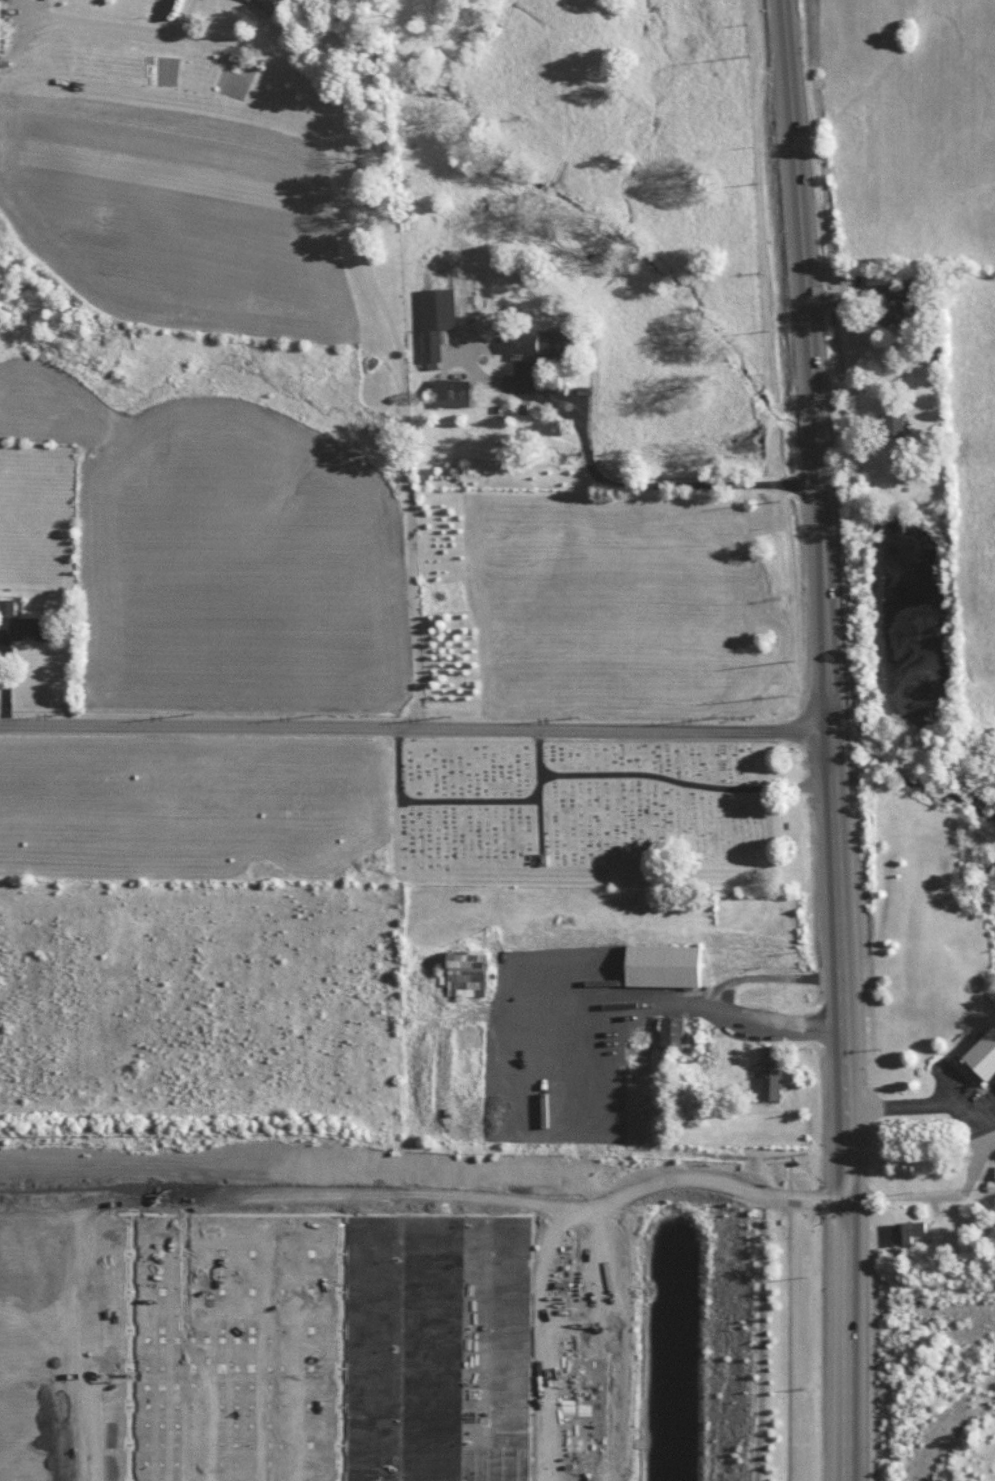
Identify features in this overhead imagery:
building: (248, 0)
building: (266, 3)
road: (365, 266)
building: (891, 303)
building: (435, 319)
building: (522, 342)
building: (554, 343)
building: (451, 392)
building: (893, 425)
road: (612, 478)
building: (22, 623)
road: (416, 727)
road: (833, 739)
park: (602, 810)
building: (661, 963)
building: (464, 972)
road: (715, 1007)
building: (671, 1031)
building: (983, 1054)
building: (770, 1075)
road: (987, 1121)
road: (979, 1149)
building: (991, 1183)
building: (908, 1229)
road: (1, 1359)
road: (293, 1473)

